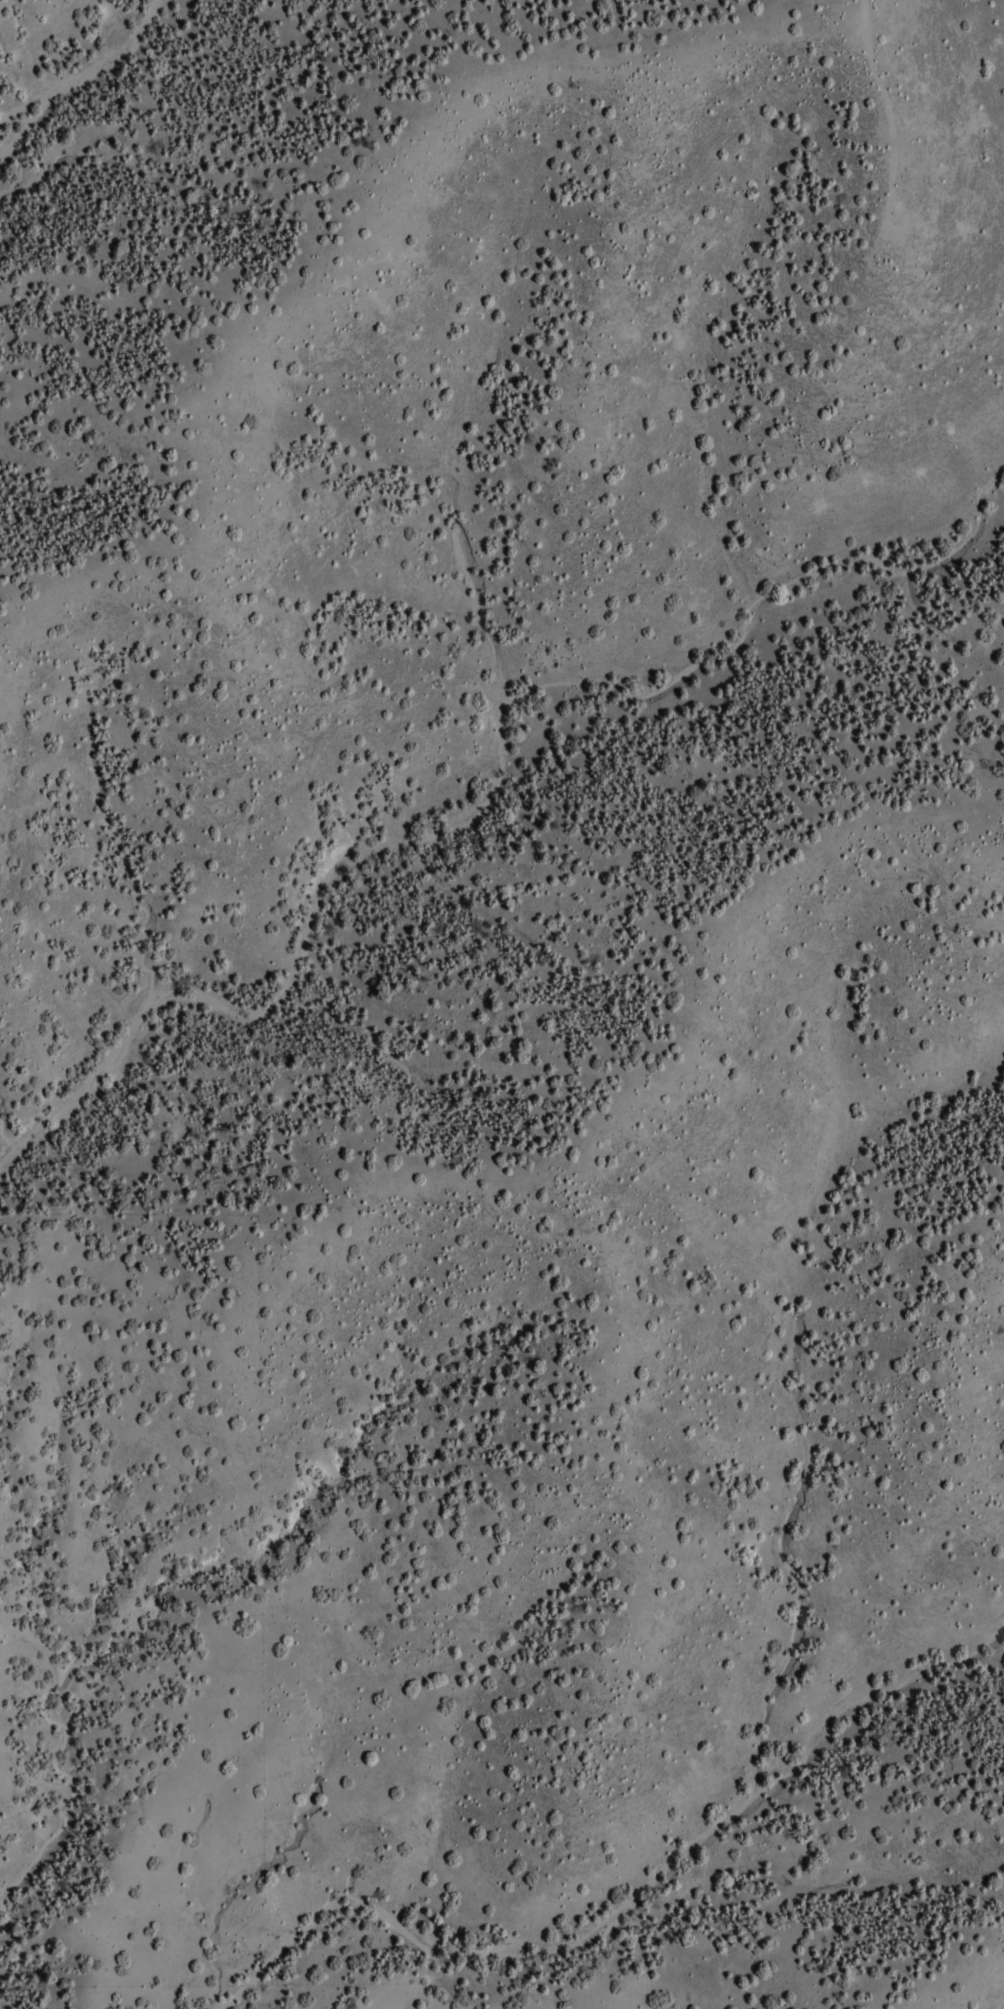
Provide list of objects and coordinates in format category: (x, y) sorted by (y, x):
road: (861, 2)
road: (635, 1979)

